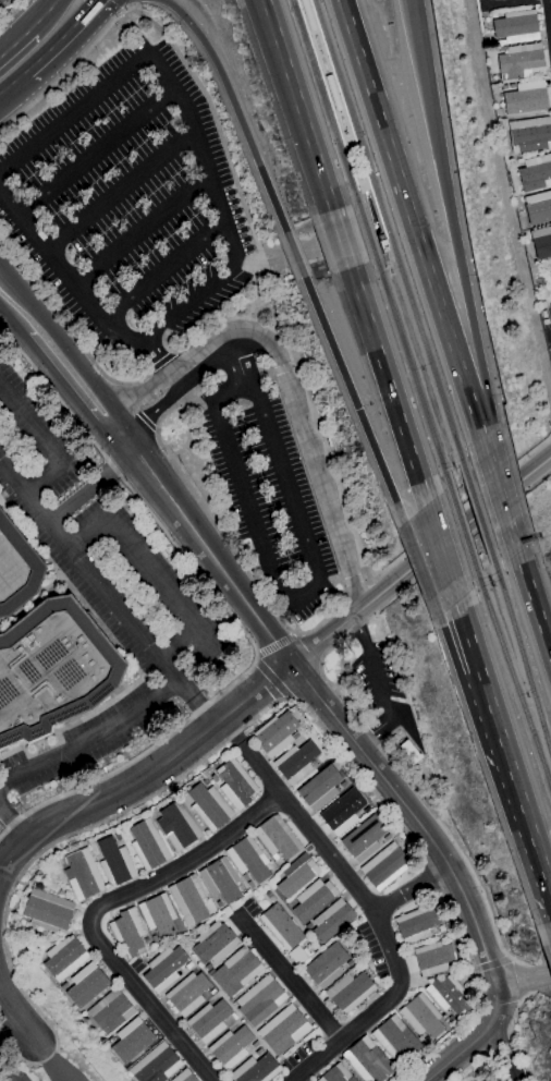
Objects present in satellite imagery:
road: (0, 0)
road: (131, 3)
road: (550, 7)
road: (39, 14)
building: (307, 15)
building: (515, 27)
road: (66, 38)
road: (13, 41)
road: (417, 48)
building: (521, 61)
road: (70, 66)
road: (13, 84)
building: (333, 93)
building: (525, 98)
railway: (323, 100)
road: (235, 105)
road: (297, 105)
building: (530, 134)
road: (223, 148)
road: (95, 151)
building: (535, 172)
railway: (360, 186)
road: (120, 191)
road: (370, 195)
parking lot: (132, 207)
building: (538, 208)
road: (409, 215)
road: (378, 221)
road: (222, 223)
railway: (365, 230)
road: (140, 231)
road: (378, 233)
railway: (388, 236)
road: (340, 239)
building: (541, 242)
building: (383, 246)
road: (306, 251)
road: (269, 253)
road: (295, 254)
road: (458, 263)
road: (161, 271)
building: (541, 305)
road: (11, 321)
parking lot: (546, 329)
road: (70, 333)
road: (62, 344)
road: (192, 355)
building: (303, 355)
road: (156, 357)
road: (233, 359)
road: (161, 361)
building: (304, 365)
road: (271, 372)
railway: (411, 373)
road: (63, 385)
road: (388, 385)
building: (311, 389)
road: (305, 394)
road: (138, 397)
road: (198, 402)
road: (355, 403)
road: (155, 408)
road: (133, 409)
road: (216, 416)
building: (329, 442)
road: (482, 442)
road: (44, 444)
road: (307, 446)
road: (90, 483)
parking lot: (271, 485)
road: (501, 503)
road: (456, 511)
road: (206, 514)
railway: (479, 517)
railway: (462, 530)
road: (456, 531)
parking lot: (101, 539)
road: (201, 543)
road: (441, 551)
road: (419, 568)
building: (16, 569)
road: (151, 573)
road: (352, 580)
road: (108, 591)
road: (534, 606)
road: (230, 614)
road: (327, 615)
road: (327, 635)
road: (275, 645)
road: (470, 647)
road: (453, 659)
railway: (522, 659)
building: (52, 670)
road: (271, 680)
railway: (512, 683)
road: (379, 684)
parking lot: (381, 694)
building: (277, 733)
building: (394, 737)
road: (94, 739)
parking lot: (84, 752)
building: (411, 752)
building: (295, 762)
building: (314, 764)
road: (148, 775)
building: (213, 778)
building: (205, 781)
building: (235, 784)
building: (342, 785)
building: (319, 788)
road: (158, 791)
road: (415, 793)
road: (518, 794)
building: (209, 806)
building: (342, 812)
road: (14, 823)
building: (177, 826)
road: (423, 830)
building: (117, 837)
building: (277, 838)
building: (387, 838)
building: (364, 839)
building: (148, 845)
building: (248, 859)
building: (114, 862)
building: (385, 866)
road: (434, 874)
building: (83, 875)
building: (296, 875)
road: (347, 877)
building: (220, 880)
building: (250, 885)
road: (412, 889)
building: (269, 897)
building: (313, 899)
building: (188, 900)
building: (219, 904)
road: (96, 908)
building: (48, 910)
building: (158, 915)
building: (331, 921)
building: (417, 923)
building: (281, 926)
building: (308, 926)
building: (442, 927)
building: (127, 933)
road: (462, 936)
building: (146, 940)
building: (215, 944)
building: (297, 956)
building: (64, 958)
building: (433, 959)
road: (510, 959)
building: (348, 963)
road: (491, 963)
building: (326, 965)
building: (208, 967)
building: (163, 969)
building: (357, 969)
road: (475, 970)
building: (236, 971)
road: (290, 979)
road: (524, 979)
building: (86, 985)
building: (64, 986)
building: (212, 992)
building: (350, 992)
building: (187, 994)
building: (449, 996)
building: (259, 1000)
road: (515, 1008)
building: (110, 1011)
road: (16, 1013)
building: (233, 1016)
building: (421, 1017)
building: (451, 1018)
building: (209, 1021)
building: (283, 1030)
road: (16, 1039)
building: (395, 1039)
building: (110, 1041)
building: (132, 1041)
building: (426, 1041)
building: (255, 1045)
road: (499, 1045)
building: (231, 1047)
road: (504, 1050)
building: (258, 1052)
road: (460, 1052)
road: (52, 1060)
road: (316, 1060)
building: (368, 1060)
building: (156, 1065)
road: (473, 1068)
building: (255, 1069)
building: (336, 1074)
parking lot: (20, 1076)
building: (184, 1077)

